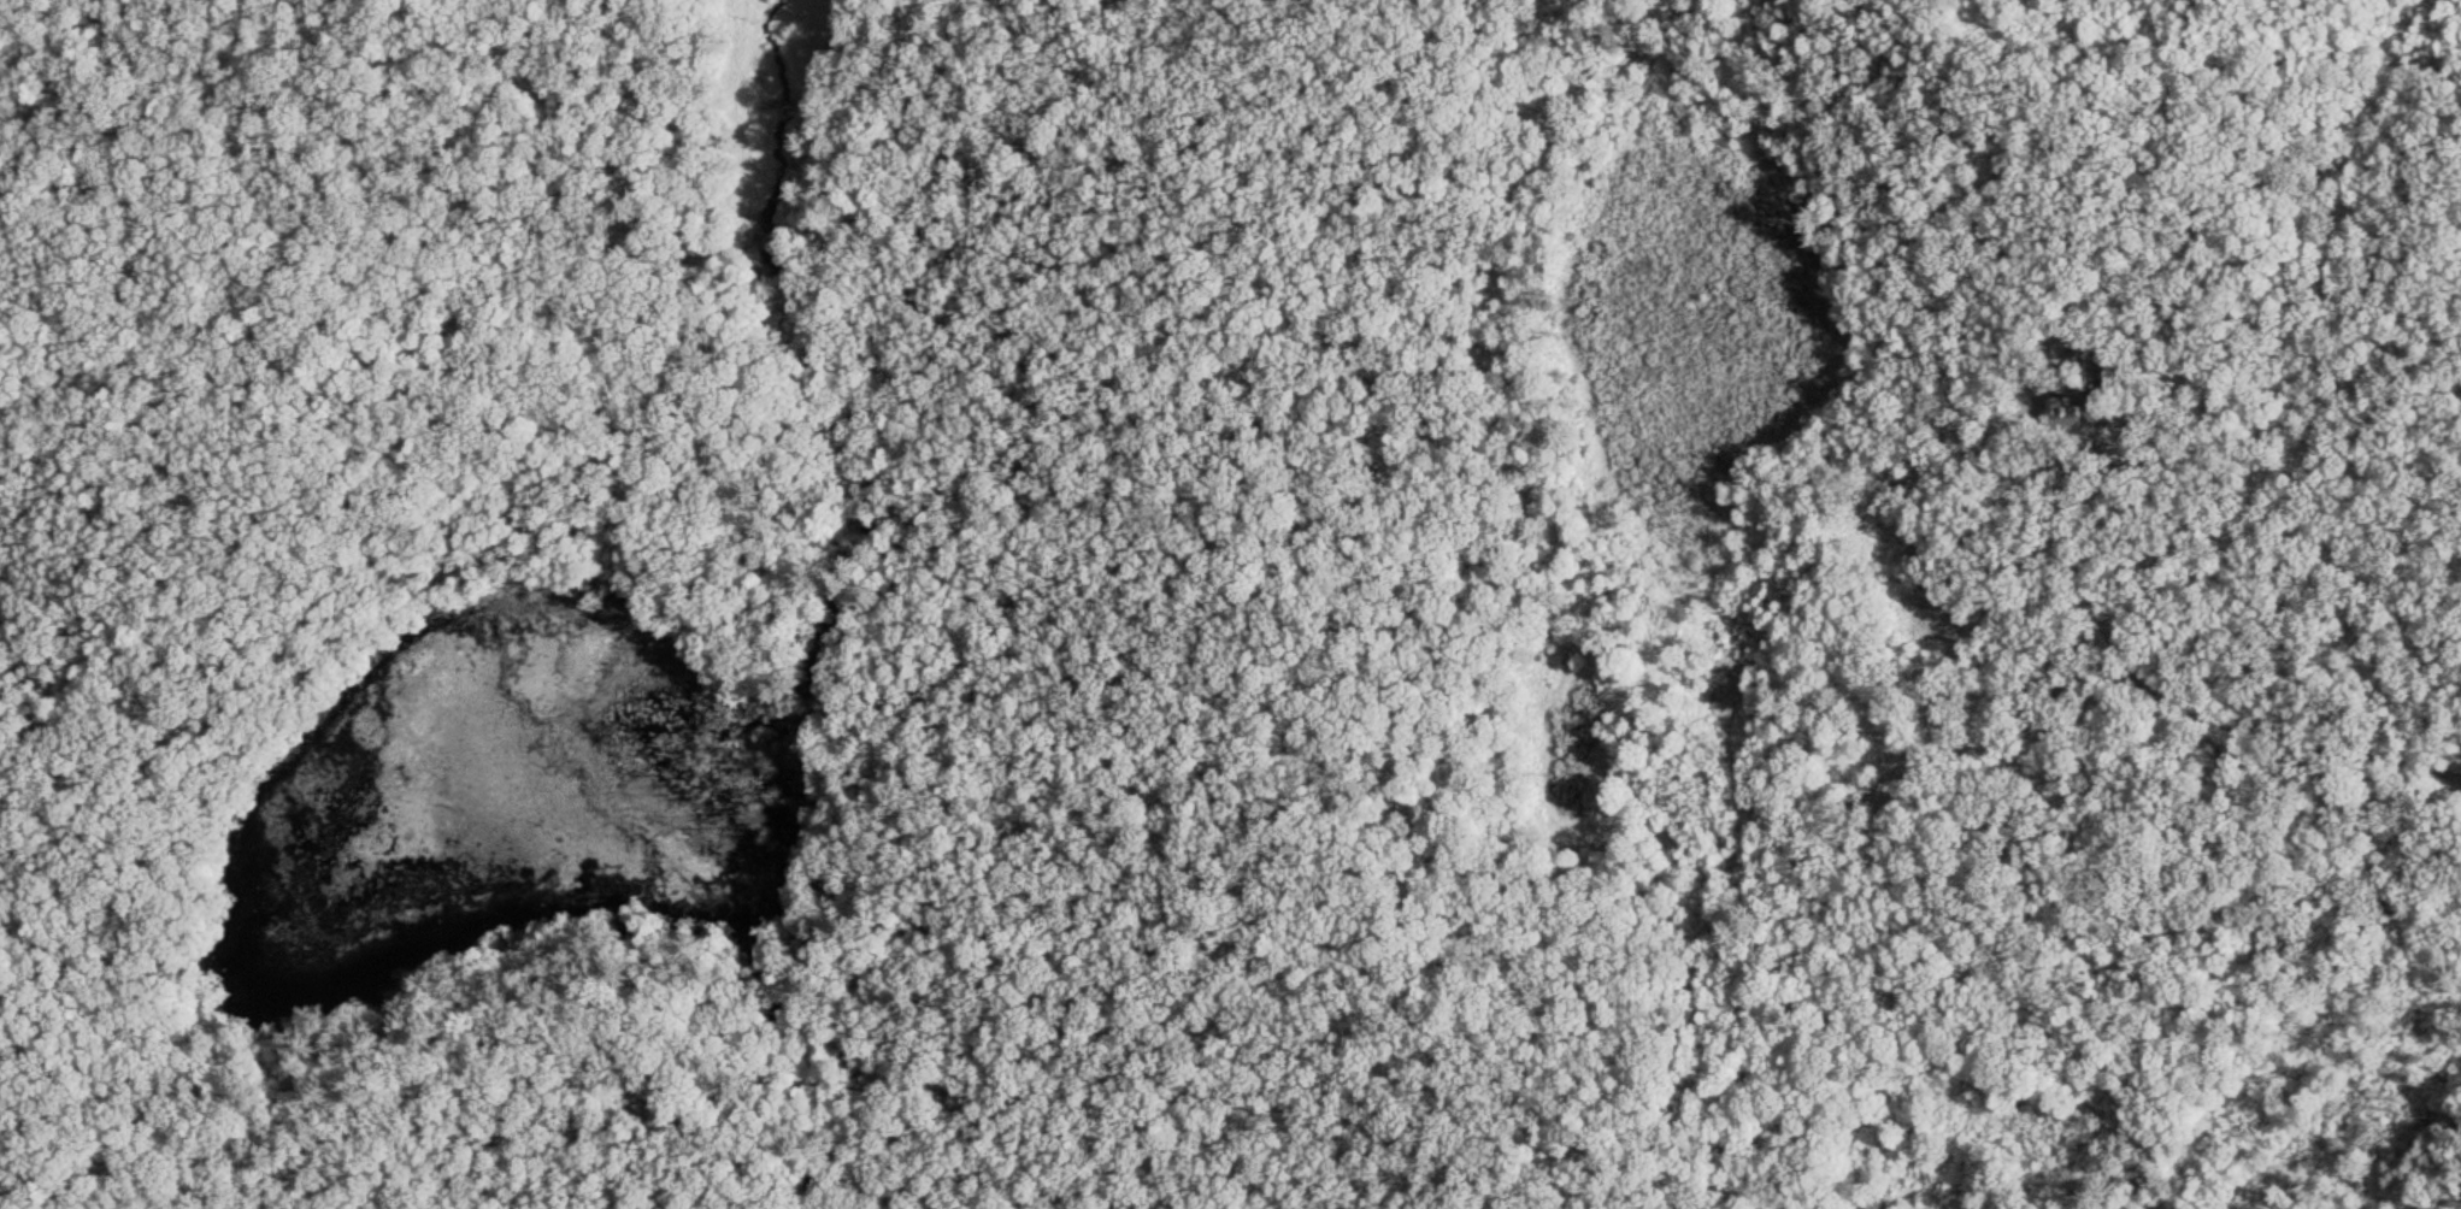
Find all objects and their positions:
building: (2119, 364)

